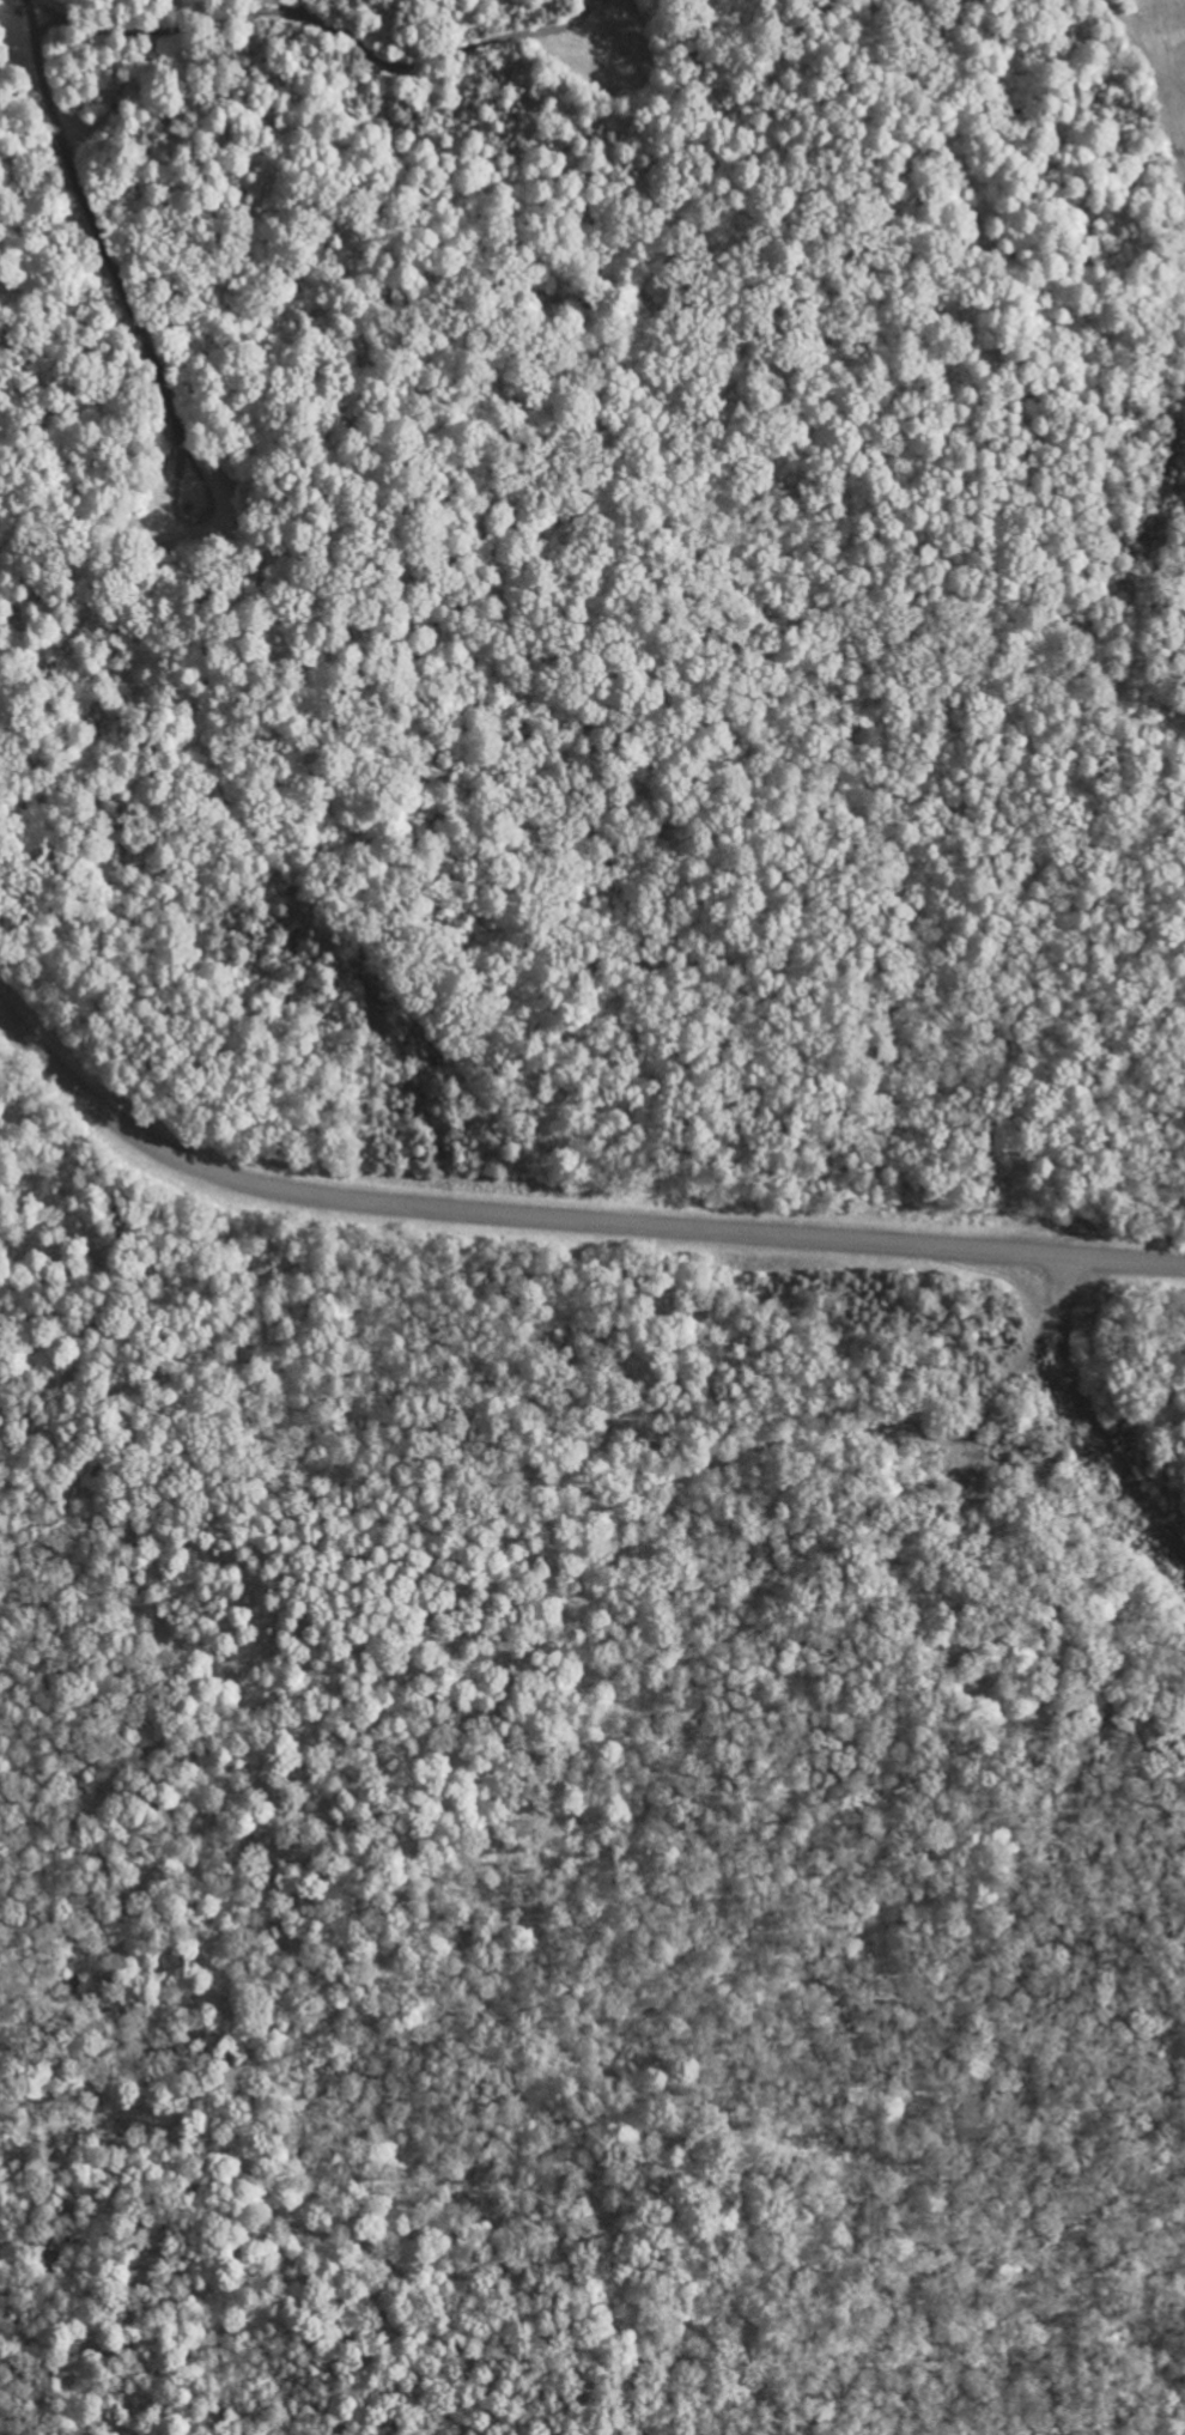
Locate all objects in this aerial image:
road: (563, 1219)

